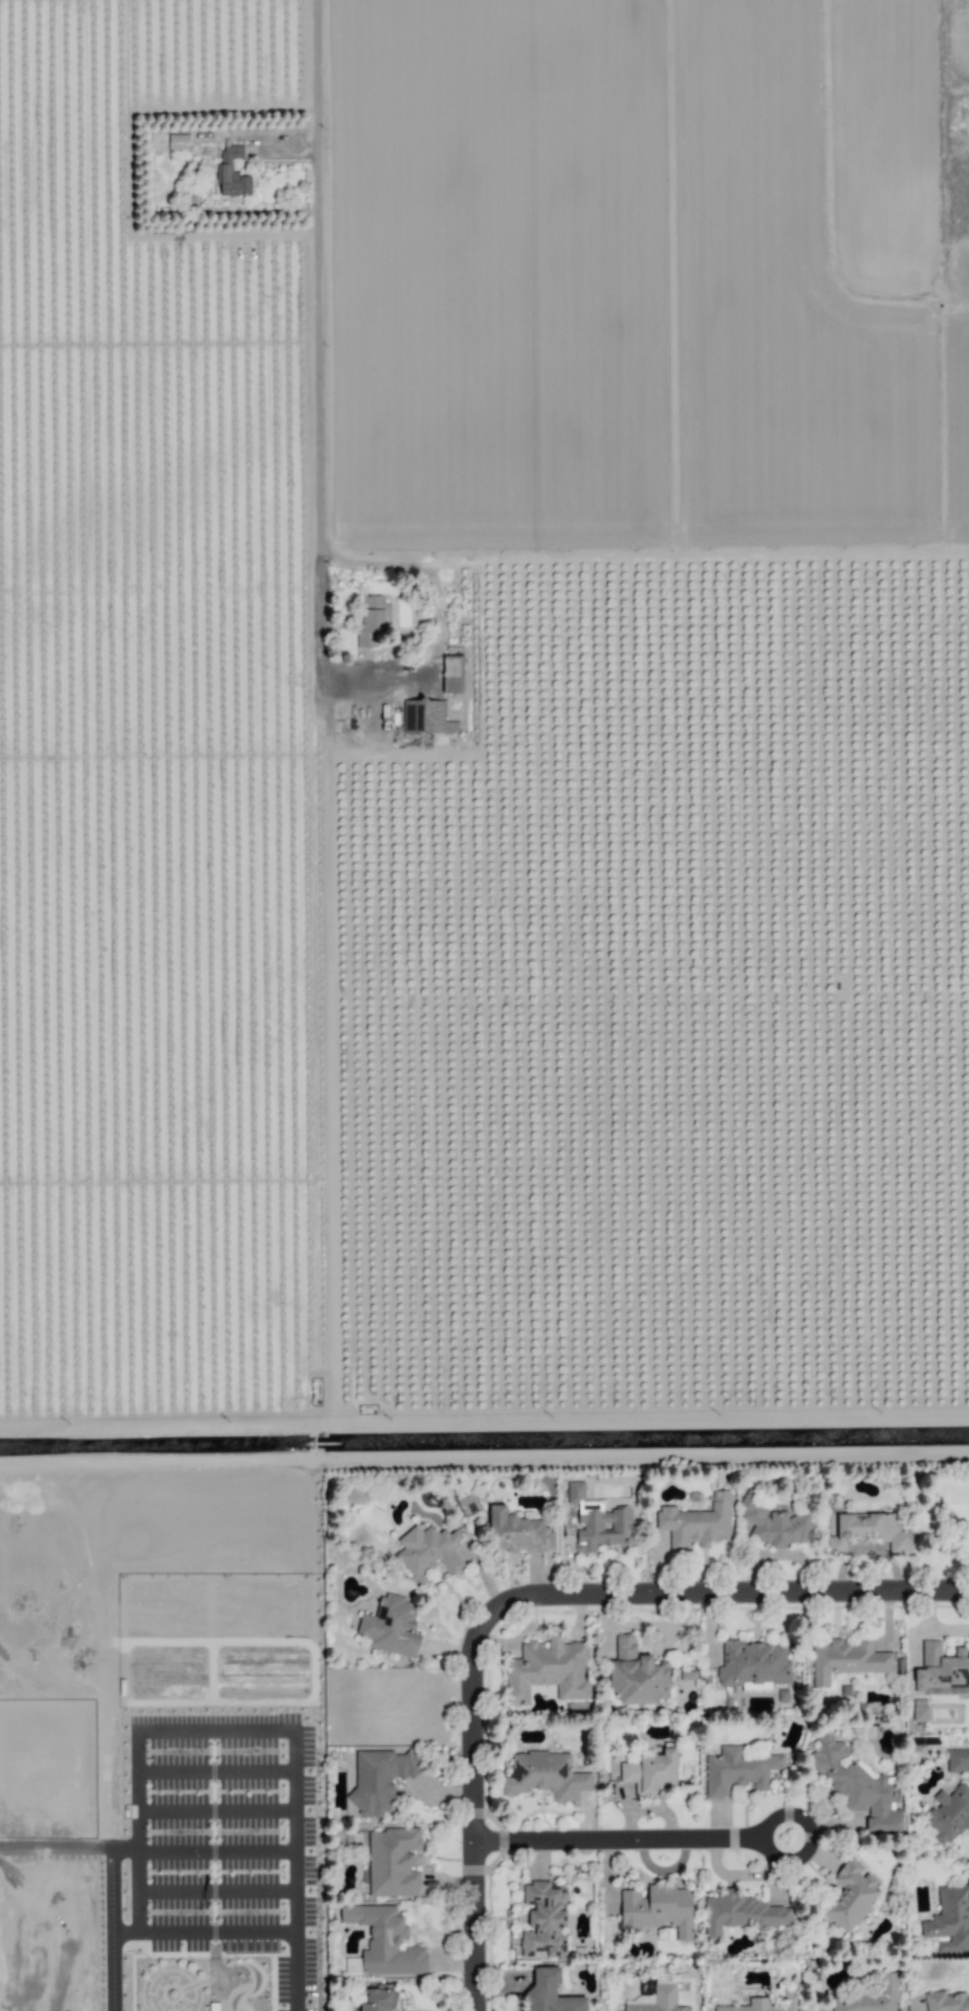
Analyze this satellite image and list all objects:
building: (177, 142)
building: (224, 168)
road: (318, 283)
road: (644, 554)
building: (372, 621)
road: (323, 668)
building: (452, 674)
crop: (483, 713)
building: (422, 716)
building: (356, 1496)
building: (597, 1522)
building: (696, 1523)
building: (774, 1523)
building: (869, 1531)
building: (517, 1532)
building: (429, 1553)
road: (722, 1603)
building: (391, 1626)
building: (846, 1659)
building: (752, 1664)
building: (942, 1669)
building: (547, 1670)
building: (636, 1674)
building: (685, 1676)
road: (202, 1731)
building: (957, 1761)
building: (738, 1770)
building: (650, 1773)
building: (545, 1776)
building: (379, 1779)
building: (857, 1787)
road: (461, 1813)
building: (948, 1814)
road: (55, 1846)
road: (622, 1850)
building: (392, 1862)
building: (851, 1895)
building: (657, 1910)
building: (740, 1914)
building: (544, 1921)
building: (950, 1922)
building: (385, 1941)
building: (352, 1966)
building: (548, 1993)
building: (870, 1998)
building: (378, 2000)
building: (656, 2000)
building: (946, 2002)
building: (765, 2004)

